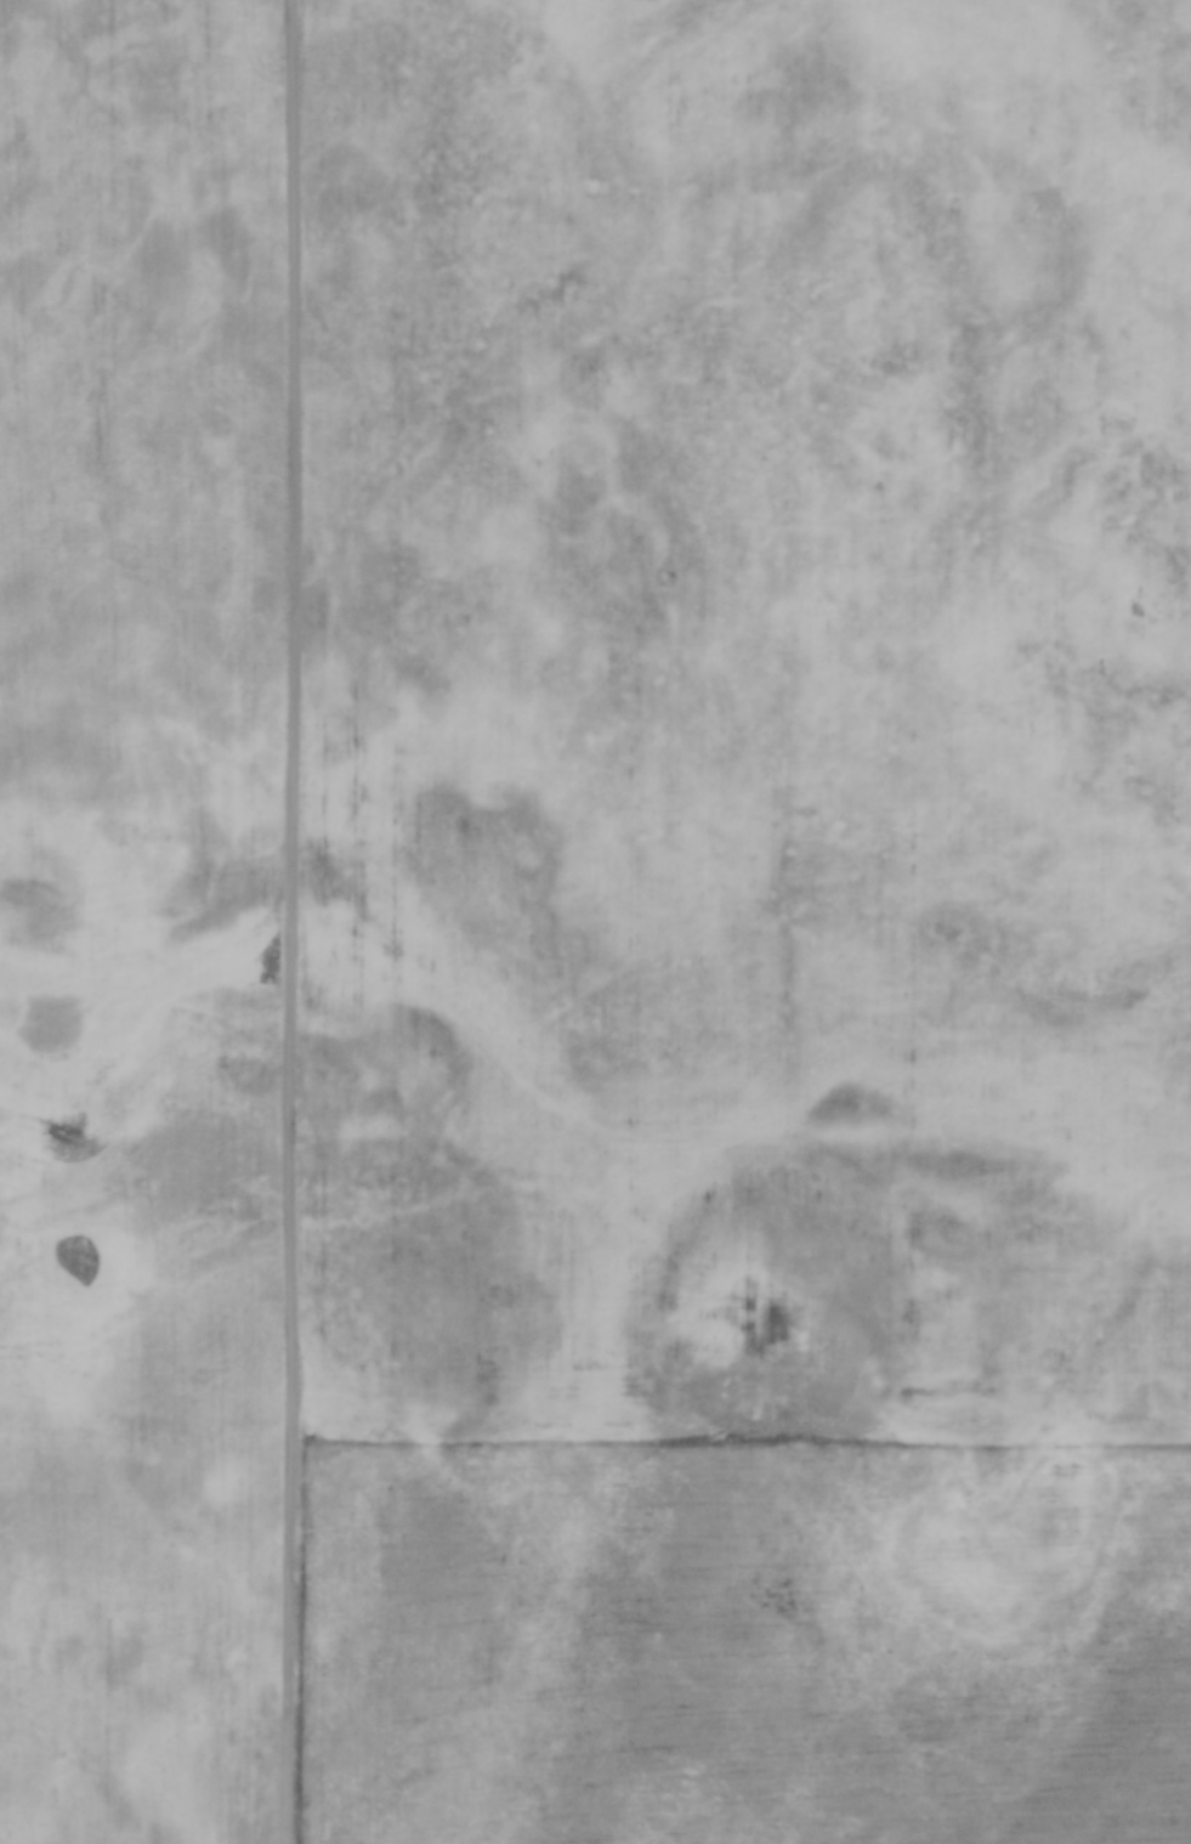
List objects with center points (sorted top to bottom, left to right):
road: (297, 922)
road: (147, 1431)

